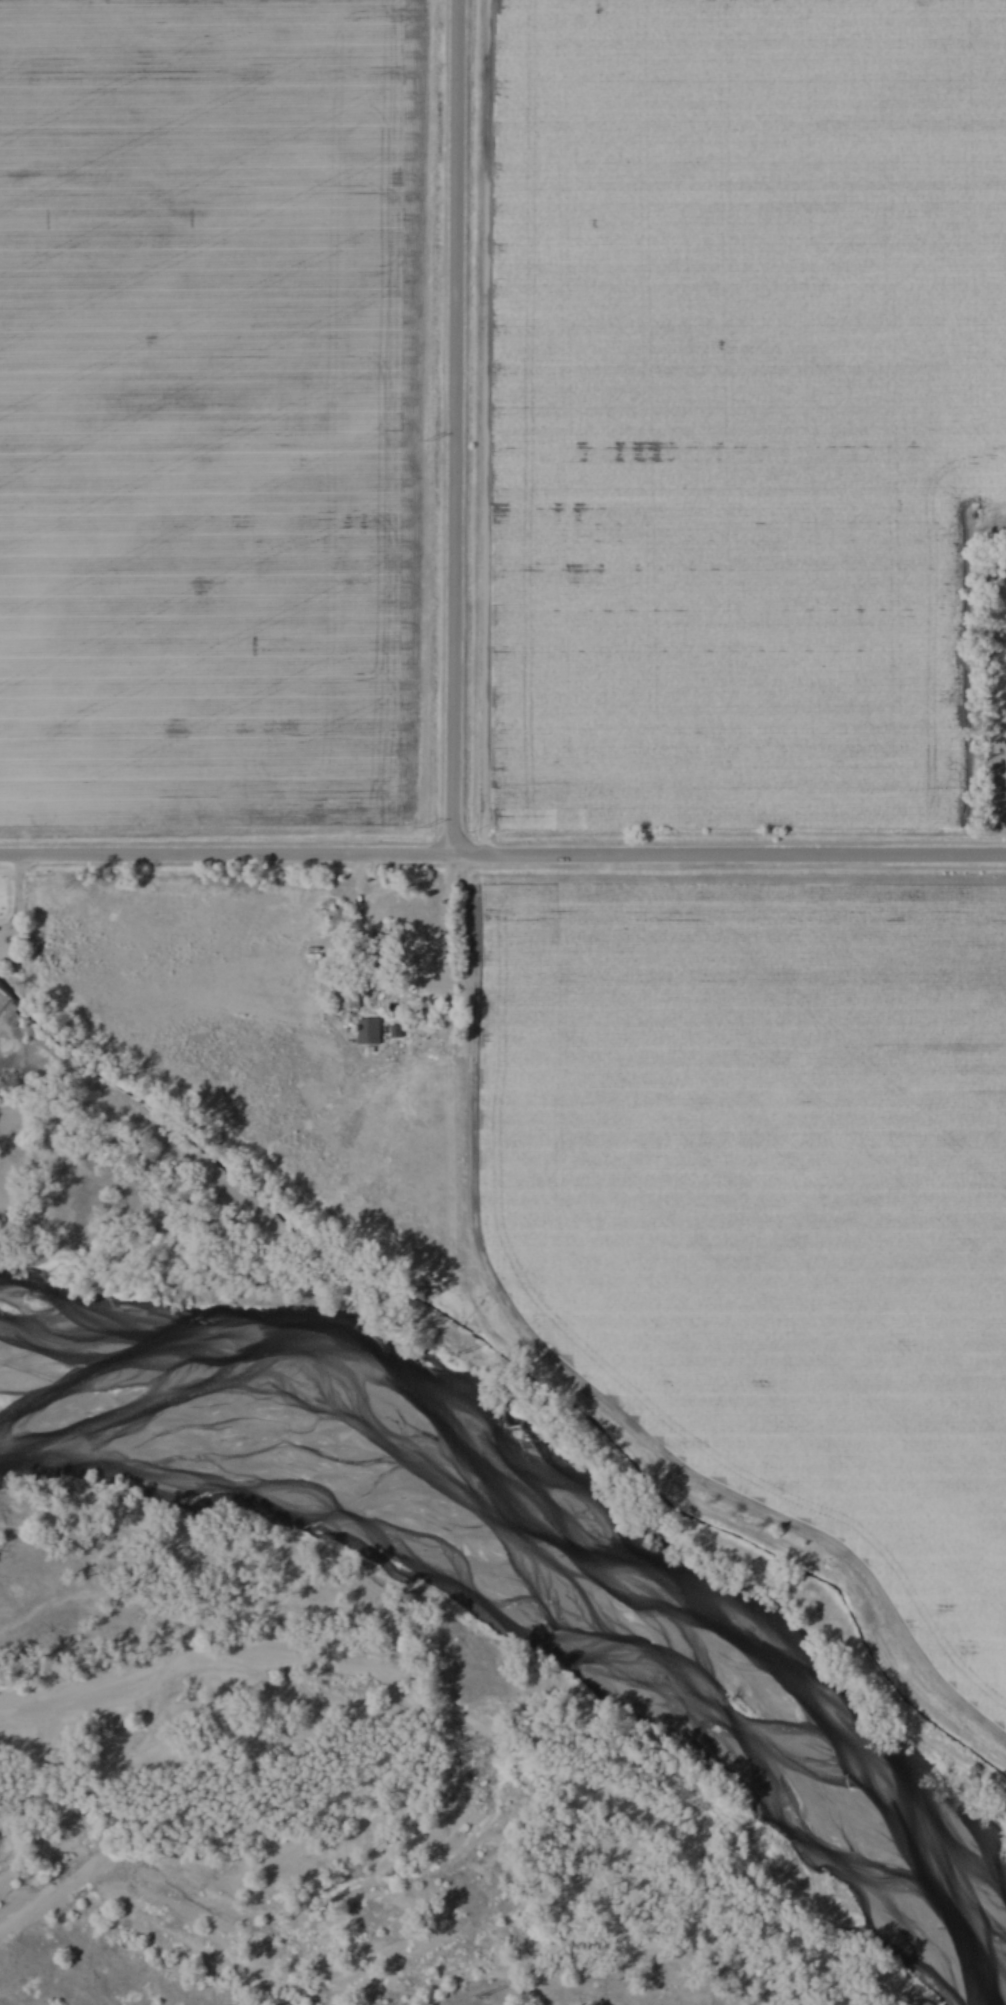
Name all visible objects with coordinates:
crop: (745, 409)
crop: (201, 412)
road: (456, 425)
road: (226, 850)
road: (730, 853)
road: (410, 981)
building: (351, 994)
building: (372, 1028)
crop: (775, 1196)
river: (575, 1516)

